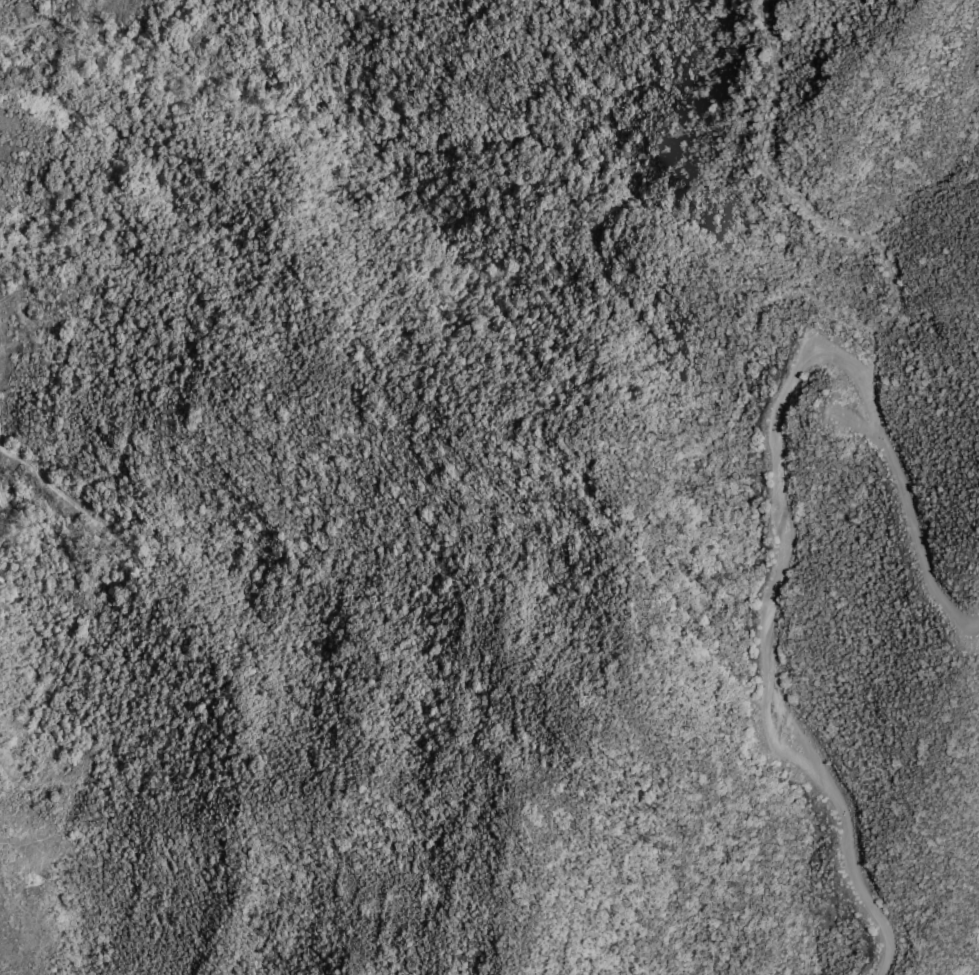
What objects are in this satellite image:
road: (34, 23)
road: (754, 322)
road: (874, 354)
road: (860, 424)
road: (782, 510)
road: (6, 522)
road: (99, 580)
road: (617, 586)
road: (799, 732)
road: (71, 798)

